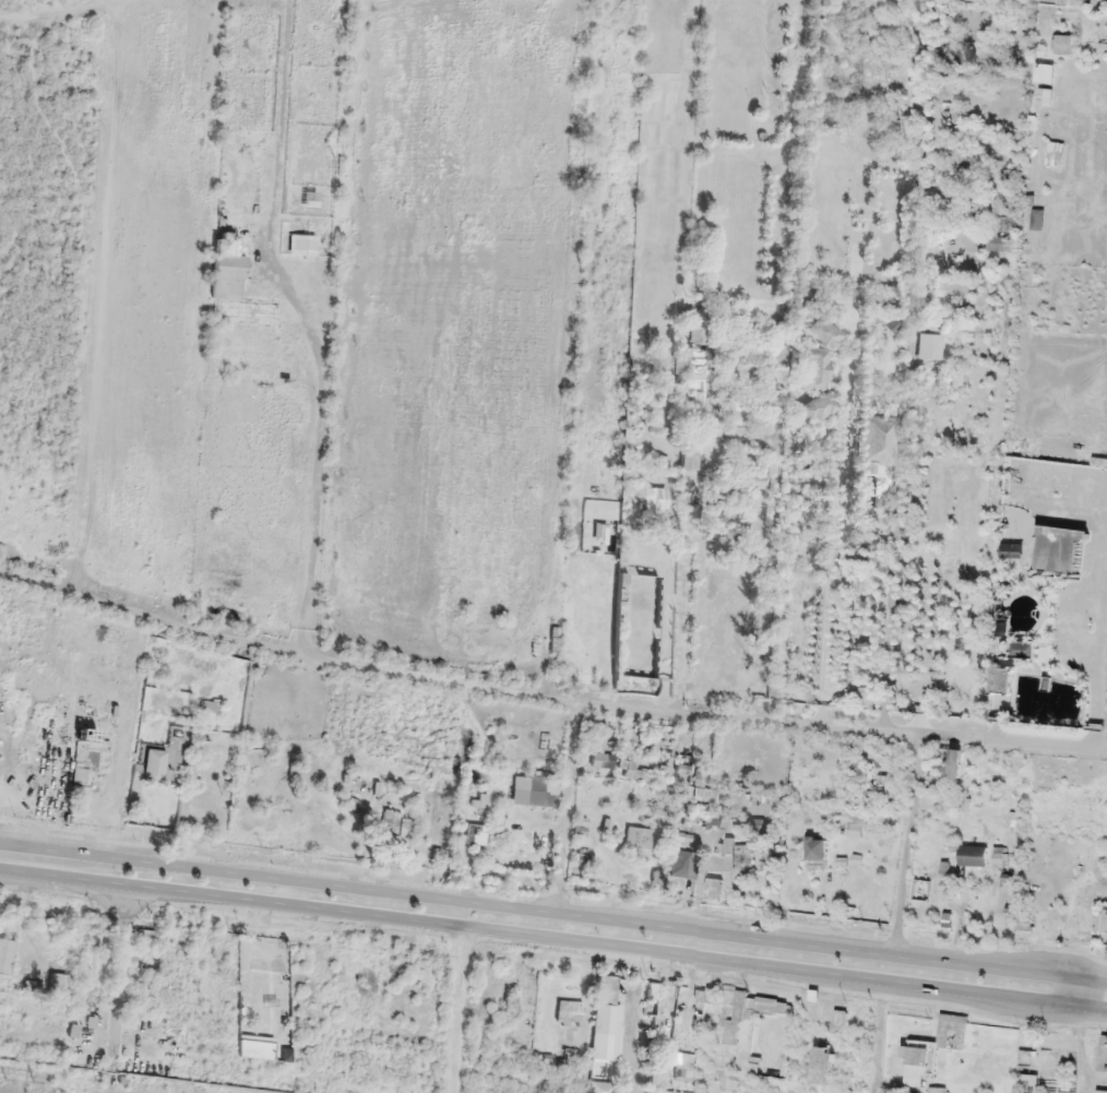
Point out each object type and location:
road: (63, 5)
road: (303, 324)
road: (778, 359)
road: (843, 447)
road: (687, 548)
building: (640, 621)
road: (547, 696)
power substation: (92, 1081)

